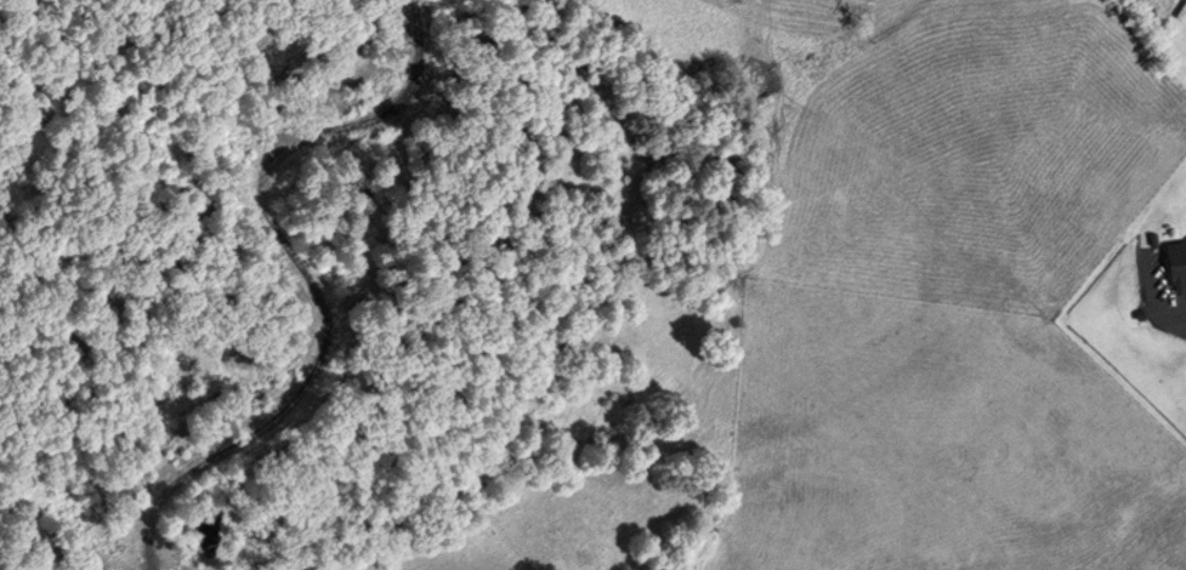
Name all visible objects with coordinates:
building: (1175, 261)
road: (305, 273)
parking lot: (1159, 292)
road: (1156, 300)

